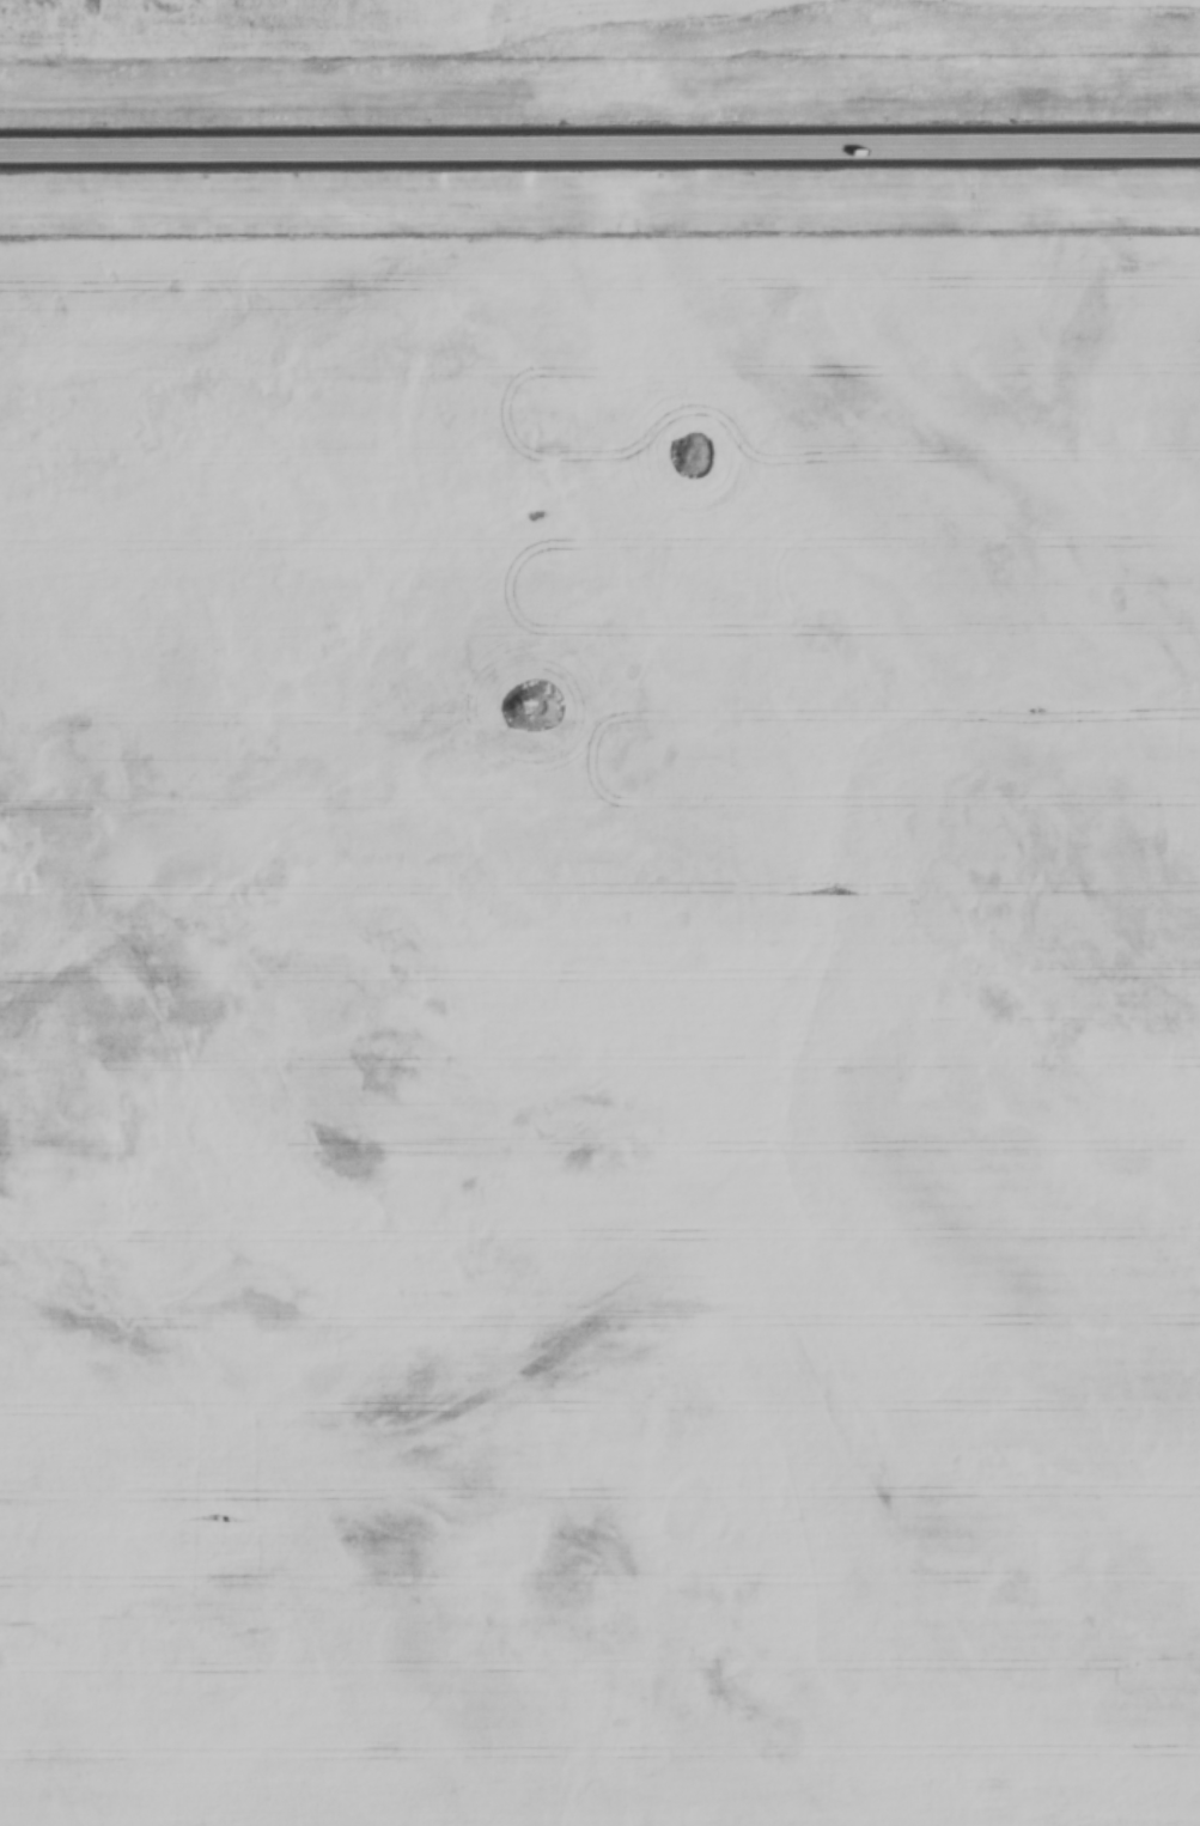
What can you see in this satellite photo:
road: (599, 144)
building: (581, 147)

